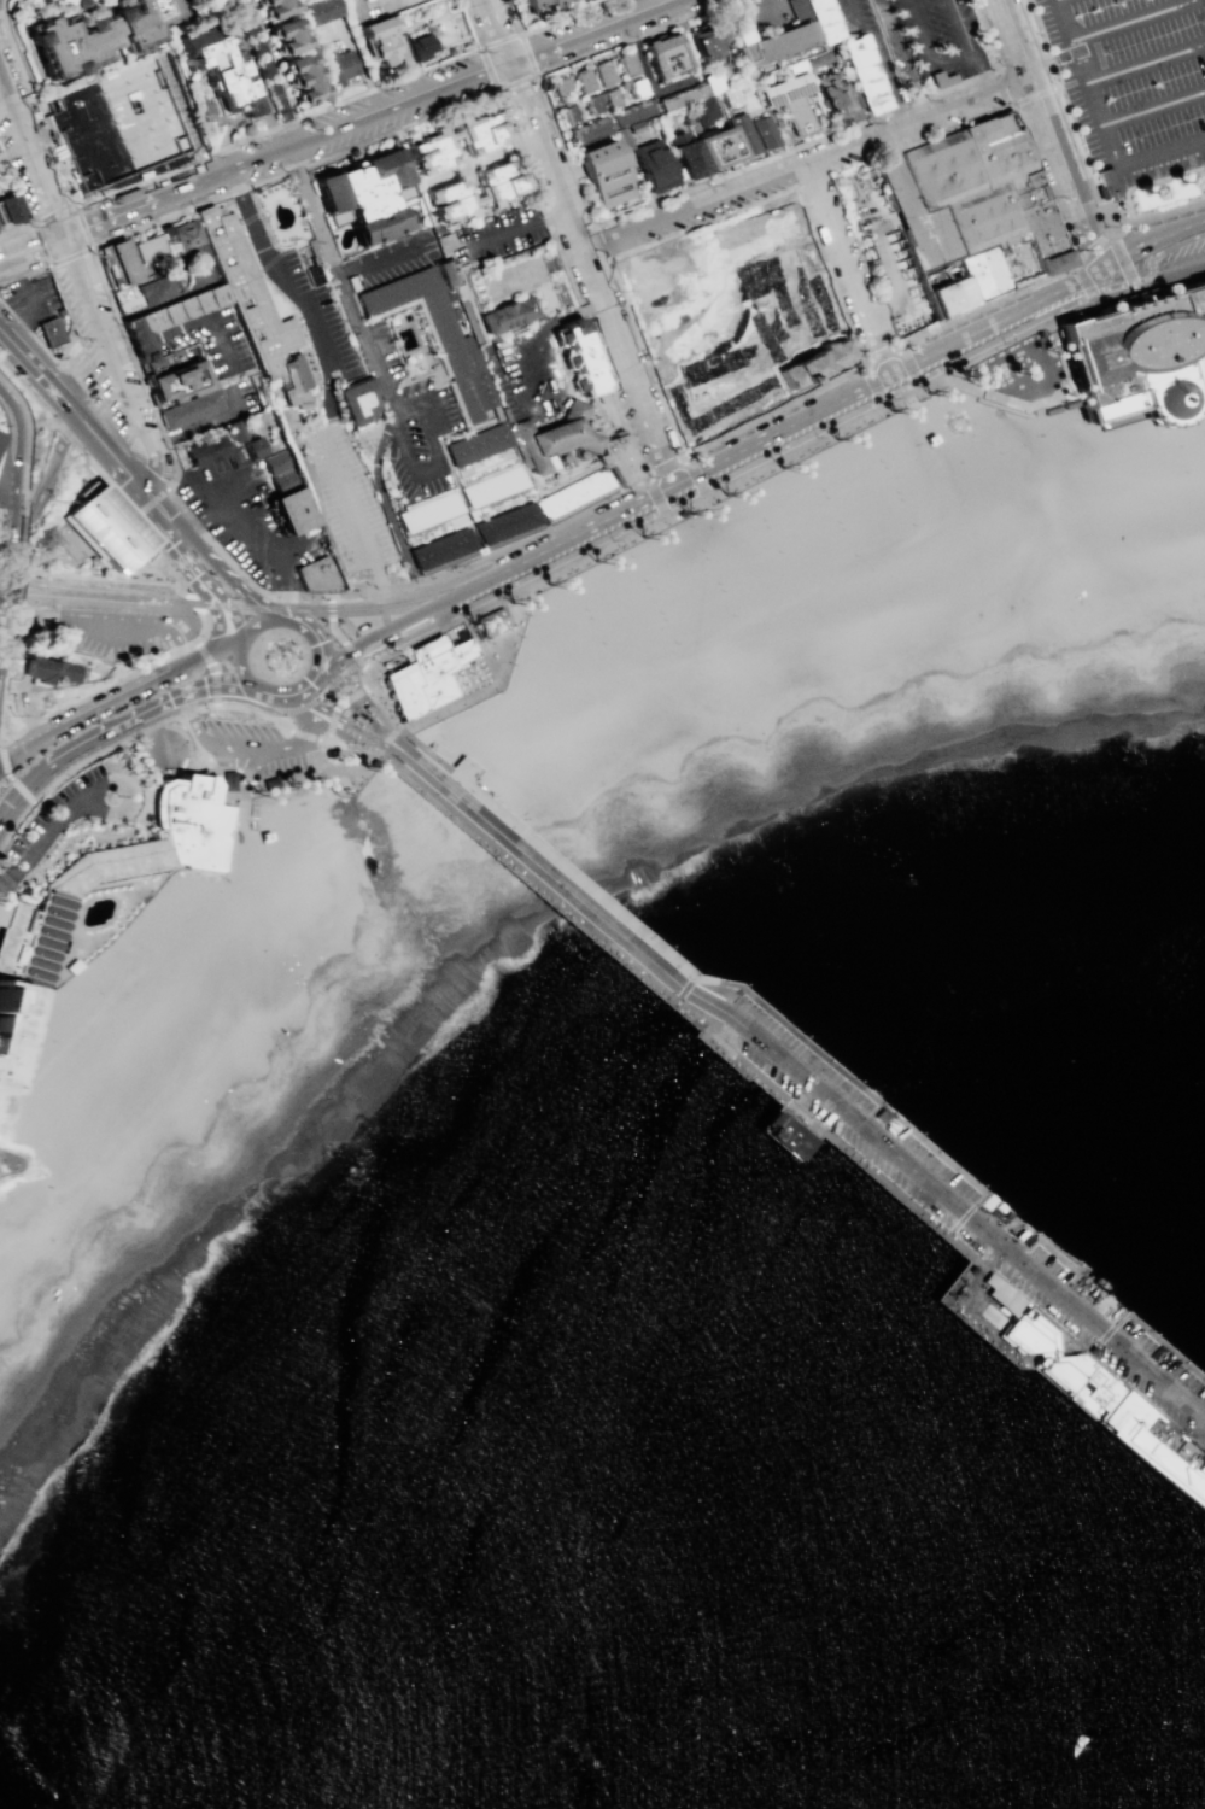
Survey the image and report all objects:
road: (394, 0)
building: (40, 2)
building: (550, 2)
building: (530, 4)
road: (642, 6)
road: (2, 7)
building: (273, 8)
building: (353, 8)
building: (795, 10)
building: (317, 11)
road: (513, 16)
road: (565, 16)
building: (820, 21)
road: (1130, 21)
road: (470, 23)
road: (959, 24)
road: (496, 33)
road: (593, 33)
building: (732, 33)
parking lot: (934, 36)
building: (286, 37)
parking lot: (540, 37)
building: (92, 40)
building: (379, 40)
building: (703, 41)
parking lot: (870, 42)
building: (417, 46)
building: (771, 46)
road: (929, 48)
building: (663, 57)
building: (818, 58)
road: (879, 58)
road: (905, 58)
road: (1049, 60)
road: (1145, 63)
building: (627, 64)
building: (337, 66)
road: (981, 69)
building: (216, 72)
road: (534, 72)
building: (602, 72)
road: (270, 74)
building: (862, 75)
building: (940, 78)
building: (302, 80)
building: (584, 80)
building: (708, 82)
parking lot: (1131, 82)
building: (637, 88)
building: (560, 89)
road: (1045, 89)
building: (613, 96)
building: (680, 96)
building: (726, 96)
building: (832, 96)
road: (1023, 98)
building: (786, 101)
road: (1060, 101)
building: (592, 105)
road: (1152, 109)
building: (701, 110)
building: (571, 113)
building: (632, 113)
road: (375, 117)
building: (123, 125)
road: (952, 125)
building: (637, 127)
road: (1100, 127)
building: (589, 129)
building: (762, 131)
building: (479, 133)
road: (1051, 133)
building: (742, 134)
building: (625, 139)
building: (715, 150)
building: (426, 152)
road: (33, 154)
road: (521, 154)
building: (684, 157)
road: (185, 162)
road: (805, 164)
building: (653, 165)
building: (603, 174)
road: (222, 175)
road: (1043, 185)
building: (370, 186)
building: (497, 186)
building: (987, 187)
road: (909, 193)
building: (327, 194)
road: (21, 198)
road: (74, 198)
road: (659, 198)
road: (1105, 200)
building: (449, 205)
building: (10, 210)
road: (133, 210)
road: (1166, 212)
road: (555, 213)
road: (690, 227)
building: (376, 228)
road: (508, 230)
parking lot: (504, 235)
road: (1153, 239)
building: (188, 240)
road: (601, 241)
building: (887, 247)
road: (33, 248)
road: (1093, 250)
building: (156, 252)
parking lot: (394, 257)
road: (376, 258)
road: (1029, 258)
building: (117, 262)
road: (1154, 262)
road: (1124, 264)
road: (846, 268)
railway: (1145, 268)
road: (334, 269)
road: (23, 271)
building: (982, 273)
building: (449, 274)
road: (590, 275)
road: (1084, 282)
road: (1150, 285)
road: (199, 288)
building: (146, 291)
building: (948, 297)
road: (204, 299)
road: (31, 300)
parking lot: (33, 301)
road: (150, 305)
building: (253, 306)
road: (985, 306)
road: (1071, 309)
building: (507, 314)
building: (735, 315)
building: (168, 317)
road: (560, 317)
parking lot: (318, 320)
road: (180, 327)
building: (49, 332)
road: (218, 338)
road: (140, 341)
road: (993, 346)
road: (122, 349)
building: (1139, 352)
building: (580, 353)
road: (60, 356)
road: (881, 356)
building: (162, 362)
road: (116, 363)
parking lot: (92, 365)
theme park: (1105, 369)
parking lot: (531, 370)
road: (887, 371)
building: (179, 379)
road: (1195, 384)
road: (27, 388)
building: (429, 388)
road: (328, 393)
road: (53, 396)
road: (586, 397)
building: (357, 398)
road: (386, 400)
road: (908, 400)
road: (1037, 402)
road: (521, 403)
road: (1198, 405)
road: (601, 408)
road: (1005, 409)
building: (192, 410)
road: (774, 412)
road: (204, 421)
railway: (790, 422)
parking lot: (415, 425)
road: (63, 428)
building: (235, 429)
building: (550, 434)
road: (603, 437)
road: (597, 439)
road: (24, 441)
building: (255, 445)
park: (872, 447)
road: (12, 449)
building: (205, 449)
road: (437, 449)
road: (636, 451)
road: (434, 457)
building: (618, 457)
building: (276, 462)
road: (603, 466)
road: (666, 468)
road: (609, 472)
road: (610, 473)
park: (814, 476)
park: (888, 478)
road: (694, 479)
road: (43, 480)
building: (283, 480)
road: (714, 482)
building: (492, 487)
road: (117, 494)
building: (572, 494)
road: (657, 497)
road: (4, 498)
road: (146, 498)
road: (152, 502)
parking lot: (345, 503)
park: (756, 505)
building: (291, 508)
park: (830, 509)
park: (903, 511)
road: (387, 513)
building: (429, 513)
building: (679, 514)
road: (189, 519)
parking lot: (246, 521)
road: (200, 522)
building: (505, 523)
building: (110, 526)
road: (644, 527)
road: (586, 528)
park: (695, 537)
park: (771, 537)
road: (2, 538)
road: (250, 541)
park: (846, 541)
road: (174, 546)
park: (1, 549)
building: (443, 549)
park: (753, 556)
road: (80, 557)
building: (94, 560)
storage tank: (94, 560)
road: (168, 560)
power tower: (39, 563)
park: (638, 567)
road: (220, 568)
road: (174, 569)
park: (712, 569)
building: (317, 575)
flagpole: (129, 576)
road: (90, 578)
park: (786, 579)
street lamp: (169, 581)
road: (13, 585)
road: (185, 589)
road: (201, 589)
road: (212, 589)
road: (203, 593)
park: (578, 596)
park: (653, 599)
road: (193, 601)
park: (726, 602)
railway: (252, 605)
road: (267, 608)
road: (411, 616)
road: (435, 620)
road: (259, 622)
building: (490, 624)
road: (189, 626)
road: (205, 627)
road: (310, 627)
road: (504, 627)
road: (138, 628)
park: (595, 628)
parking lot: (110, 632)
park: (677, 633)
park: (111, 636)
road: (339, 637)
road: (228, 646)
road: (481, 648)
power tower: (23, 651)
road: (321, 662)
road: (241, 663)
park: (615, 663)
road: (212, 666)
building: (47, 671)
building: (423, 673)
road: (217, 683)
building: (894, 684)
road: (309, 686)
road: (489, 686)
road: (357, 689)
road: (98, 691)
road: (269, 695)
road: (347, 696)
road: (216, 701)
road: (105, 703)
road: (335, 706)
toll booth: (367, 707)
road: (25, 708)
power tower: (12, 712)
road: (339, 716)
toll booth: (356, 719)
toll booth: (380, 721)
road: (154, 725)
road: (387, 726)
toll booth: (358, 728)
road: (106, 730)
road: (152, 731)
road: (306, 734)
road: (386, 739)
road: (192, 742)
road: (94, 747)
road: (247, 747)
parking lot: (252, 747)
road: (215, 753)
road: (429, 754)
building: (373, 760)
road: (10, 778)
building: (269, 779)
building: (228, 780)
road: (300, 780)
road: (240, 789)
road: (14, 791)
road: (127, 796)
road: (229, 816)
road: (13, 821)
parking lot: (47, 825)
road: (80, 831)
road: (43, 835)
building: (152, 838)
road: (177, 865)
road: (6, 878)
road: (152, 882)
road: (2, 883)
road: (2, 892)
road: (230, 902)
road: (2, 912)
road: (113, 919)
building: (29, 949)
road: (665, 955)
road: (682, 991)
building: (299, 1007)
park: (43, 1019)
park: (34, 1067)
road: (799, 1075)
road: (768, 1087)
building: (789, 1136)
pier: (876, 1159)
road: (964, 1216)
parking lot: (970, 1217)
road: (1053, 1255)
road: (1076, 1266)
building: (1000, 1293)
building: (994, 1317)
building: (1028, 1334)
road: (990, 1335)
road: (1104, 1335)
road: (1164, 1348)
building: (1080, 1382)
building: (1158, 1447)

